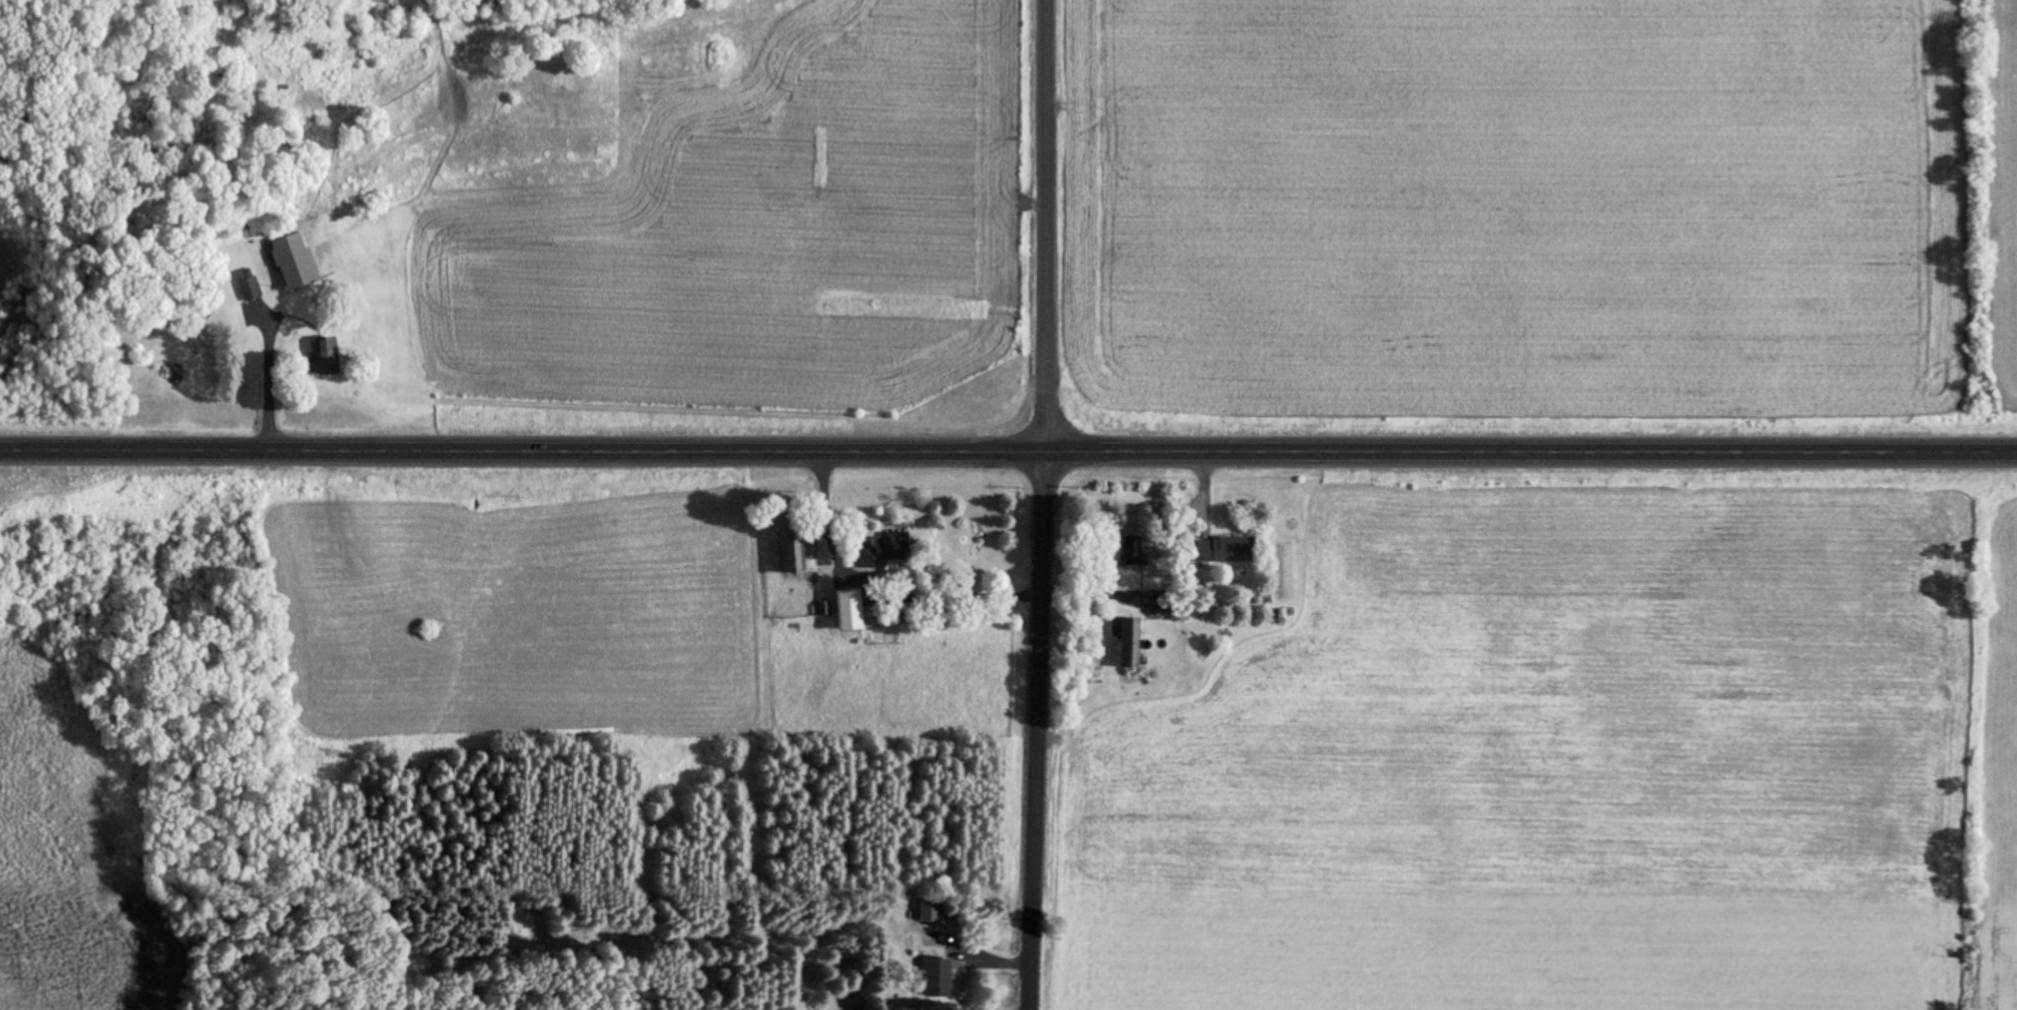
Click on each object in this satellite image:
crop: (1538, 220)
building: (296, 261)
building: (250, 284)
building: (328, 356)
road: (1008, 466)
road: (1041, 505)
building: (891, 550)
building: (1228, 550)
building: (1134, 551)
building: (799, 554)
building: (851, 611)
building: (1132, 642)
building: (930, 909)
building: (937, 978)

